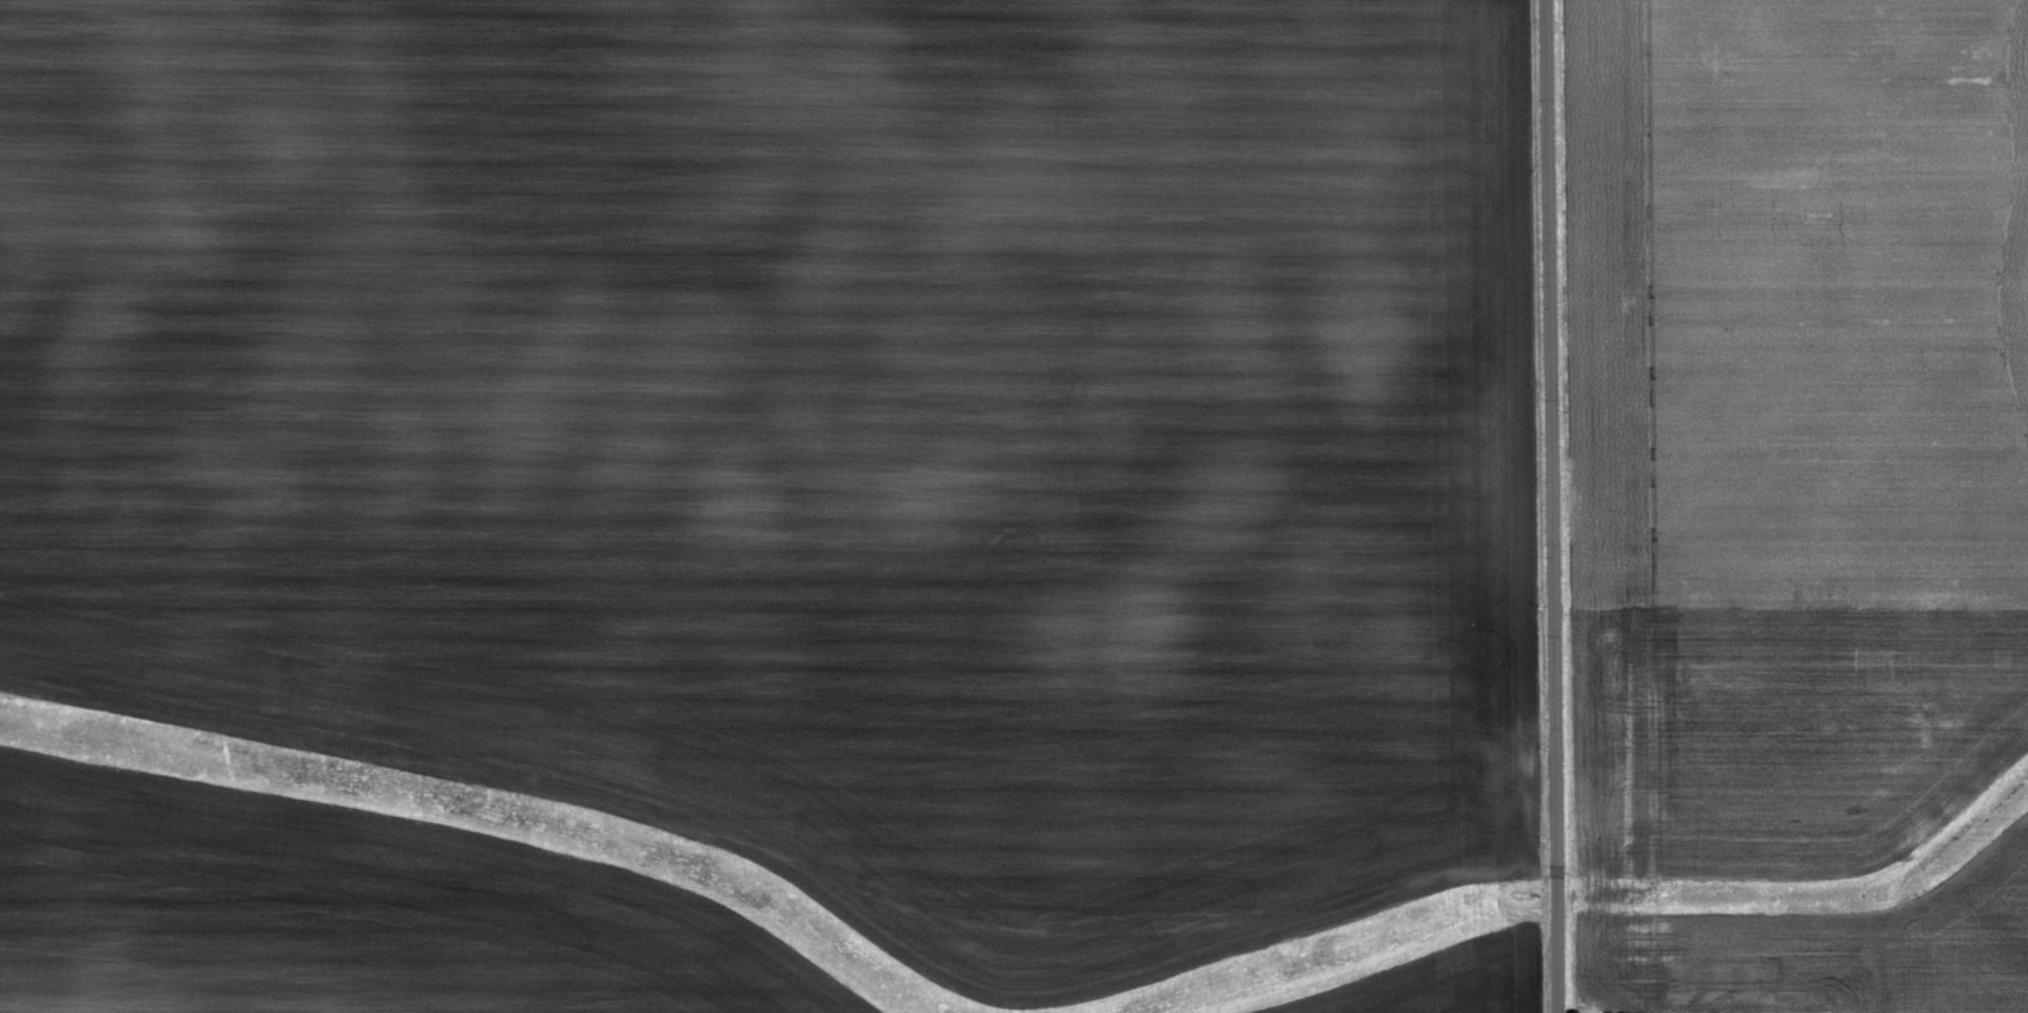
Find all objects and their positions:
road: (1549, 506)

